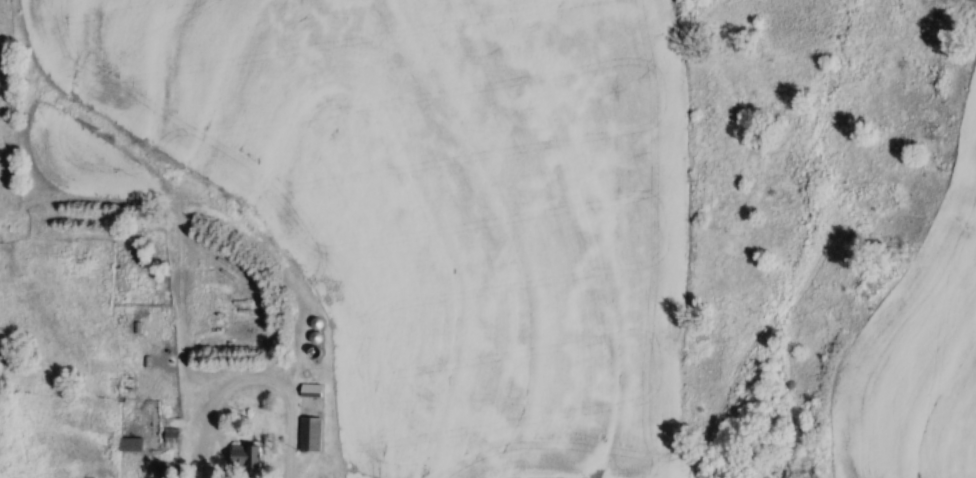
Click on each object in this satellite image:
road: (258, 384)
building: (308, 388)
building: (307, 433)
building: (169, 434)
building: (129, 443)
building: (242, 455)

